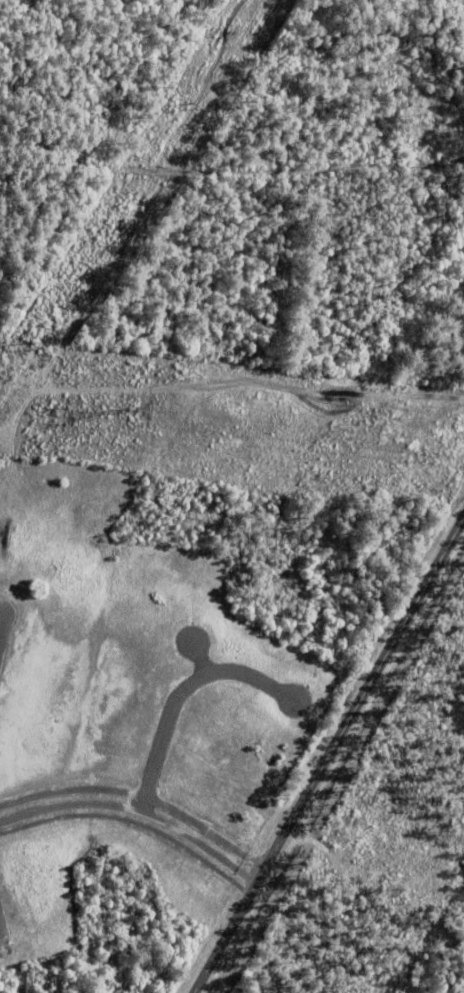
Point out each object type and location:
power tower: (124, 409)
road: (329, 754)

